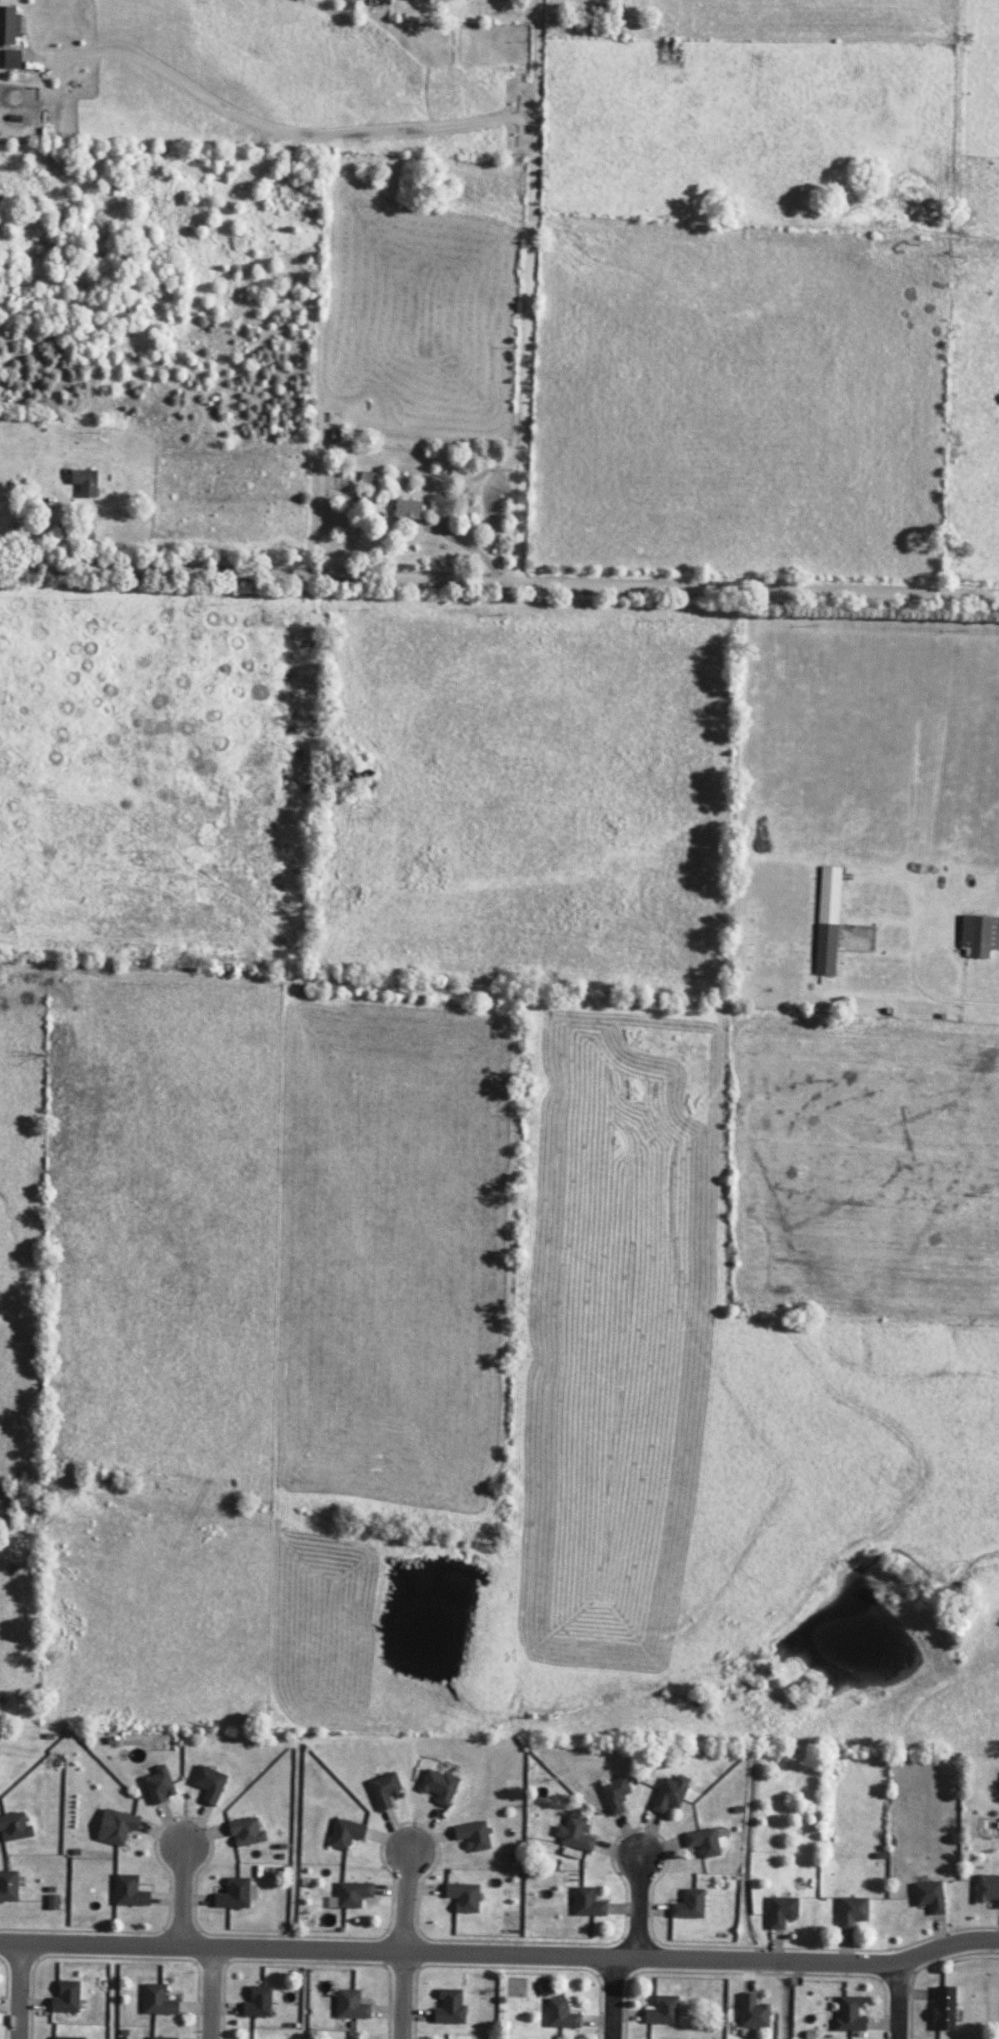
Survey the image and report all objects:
building: (374, 2)
building: (8, 25)
building: (11, 59)
road: (275, 130)
road: (533, 293)
building: (84, 482)
building: (407, 509)
road: (499, 586)
building: (979, 935)
building: (208, 1784)
building: (158, 1785)
building: (438, 1786)
building: (383, 1790)
building: (614, 1794)
building: (669, 1794)
building: (115, 1826)
building: (14, 1827)
building: (245, 1832)
building: (345, 1833)
building: (573, 1833)
building: (472, 1835)
building: (702, 1842)
building: (8, 1886)
building: (987, 1889)
building: (128, 1891)
building: (235, 1894)
building: (352, 1894)
building: (929, 1896)
road: (180, 1897)
building: (462, 1897)
building: (52, 1902)
building: (587, 1903)
building: (688, 1905)
road: (643, 1906)
building: (781, 1911)
building: (851, 1912)
road: (406, 1946)
road: (501, 1954)
road: (6, 1989)
building: (544, 1989)
road: (217, 1992)
building: (65, 1997)
road: (618, 1998)
building: (157, 2000)
building: (257, 2002)
road: (904, 2003)
building: (350, 2005)
building: (449, 2007)
building: (943, 2008)
building: (662, 2011)
building: (752, 2012)
building: (560, 2014)
building: (848, 2014)
building: (66, 2037)
building: (161, 2038)

